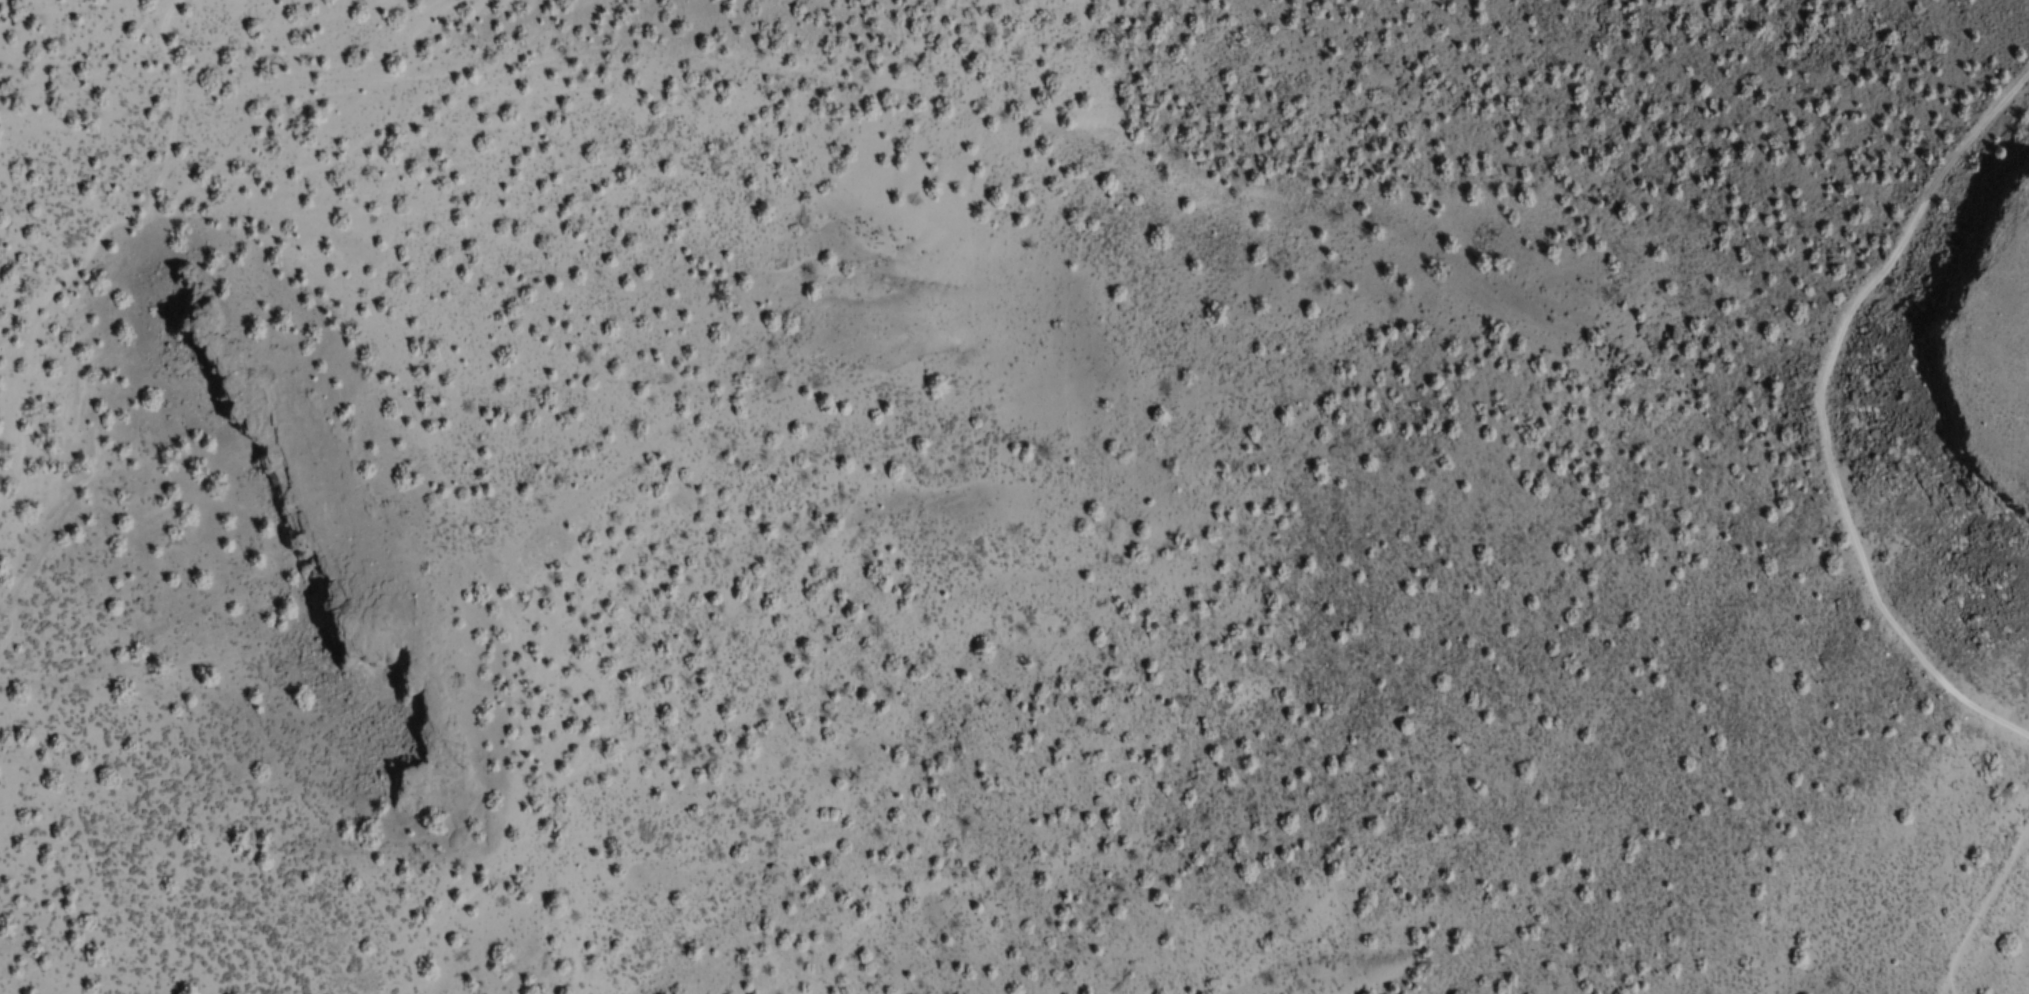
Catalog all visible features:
road: (1842, 424)
road: (1994, 926)

